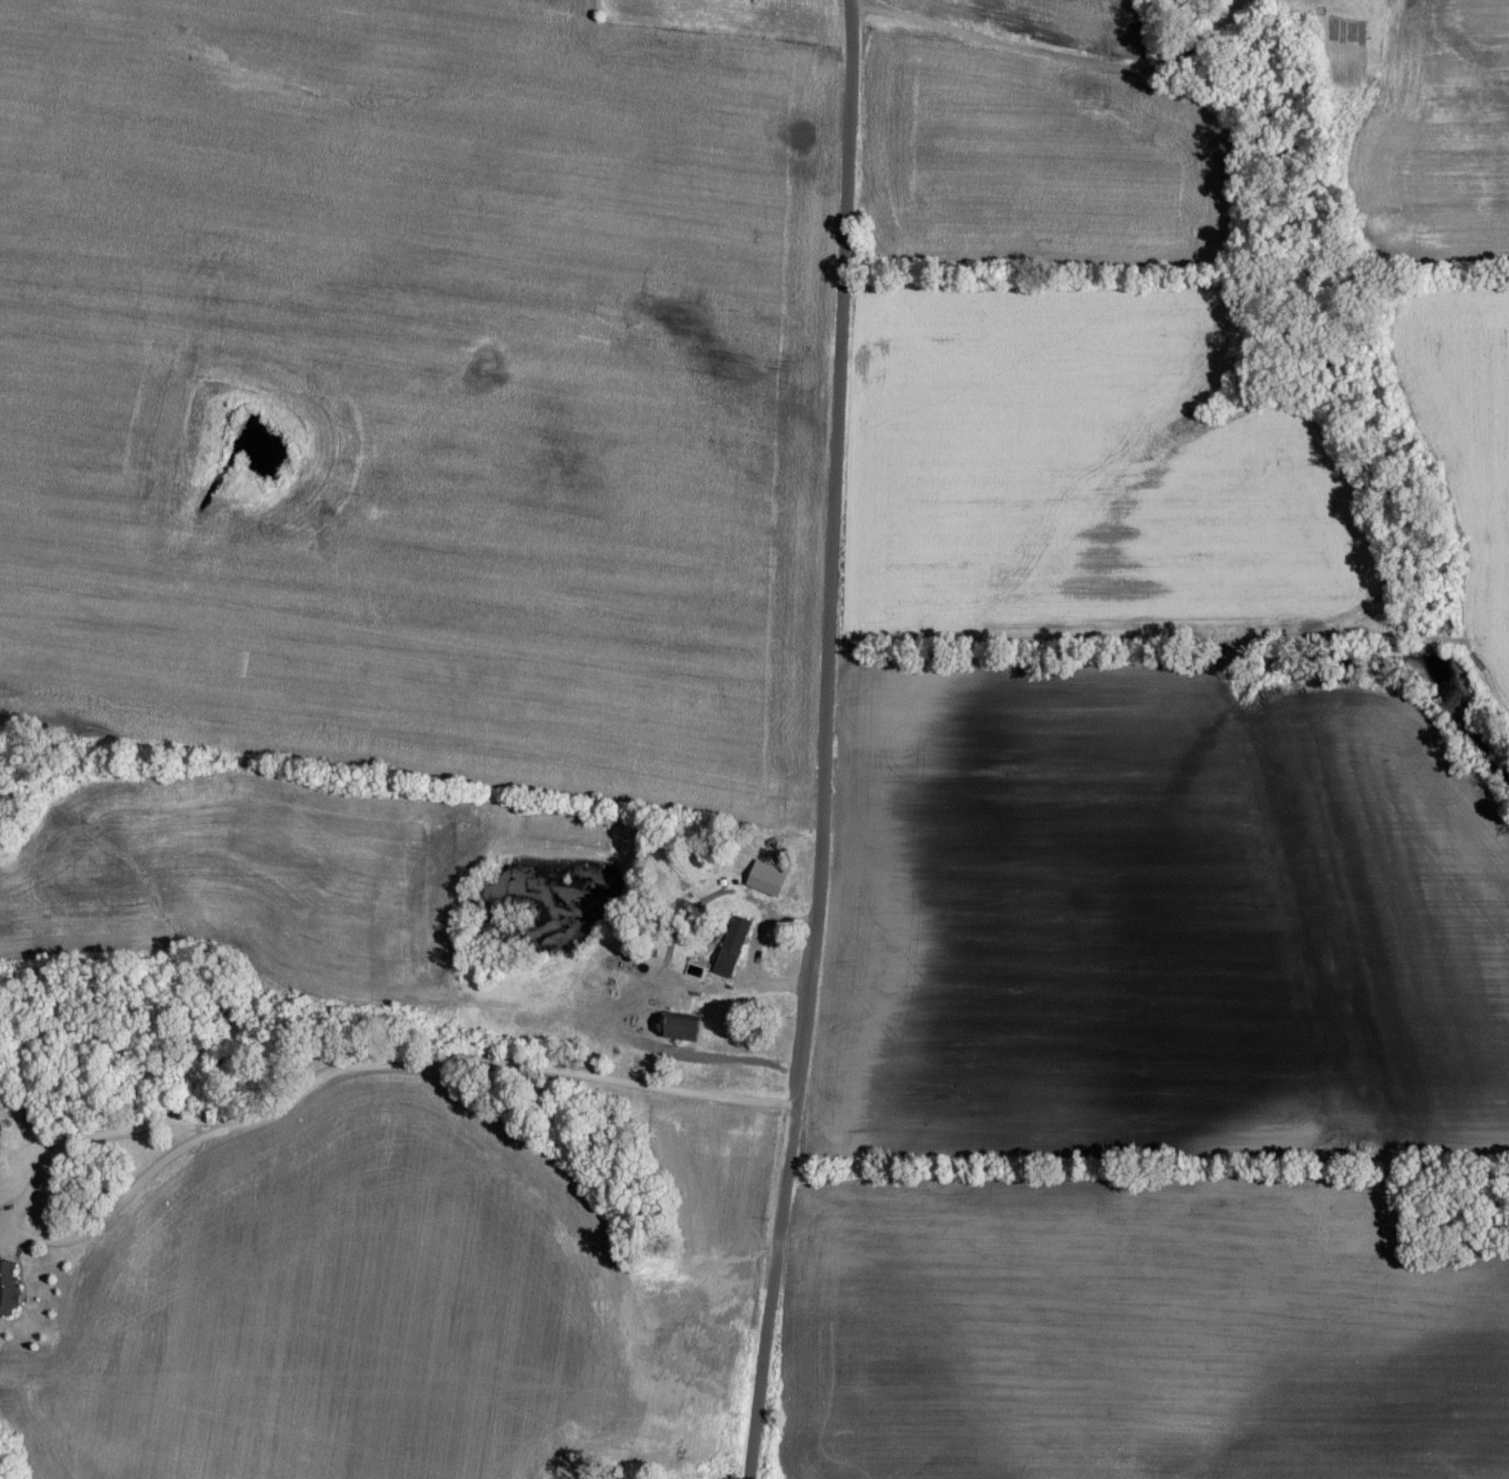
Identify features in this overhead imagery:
road: (1058, 60)
road: (824, 740)
building: (735, 955)
building: (688, 1038)
road: (256, 1121)
building: (9, 1296)

